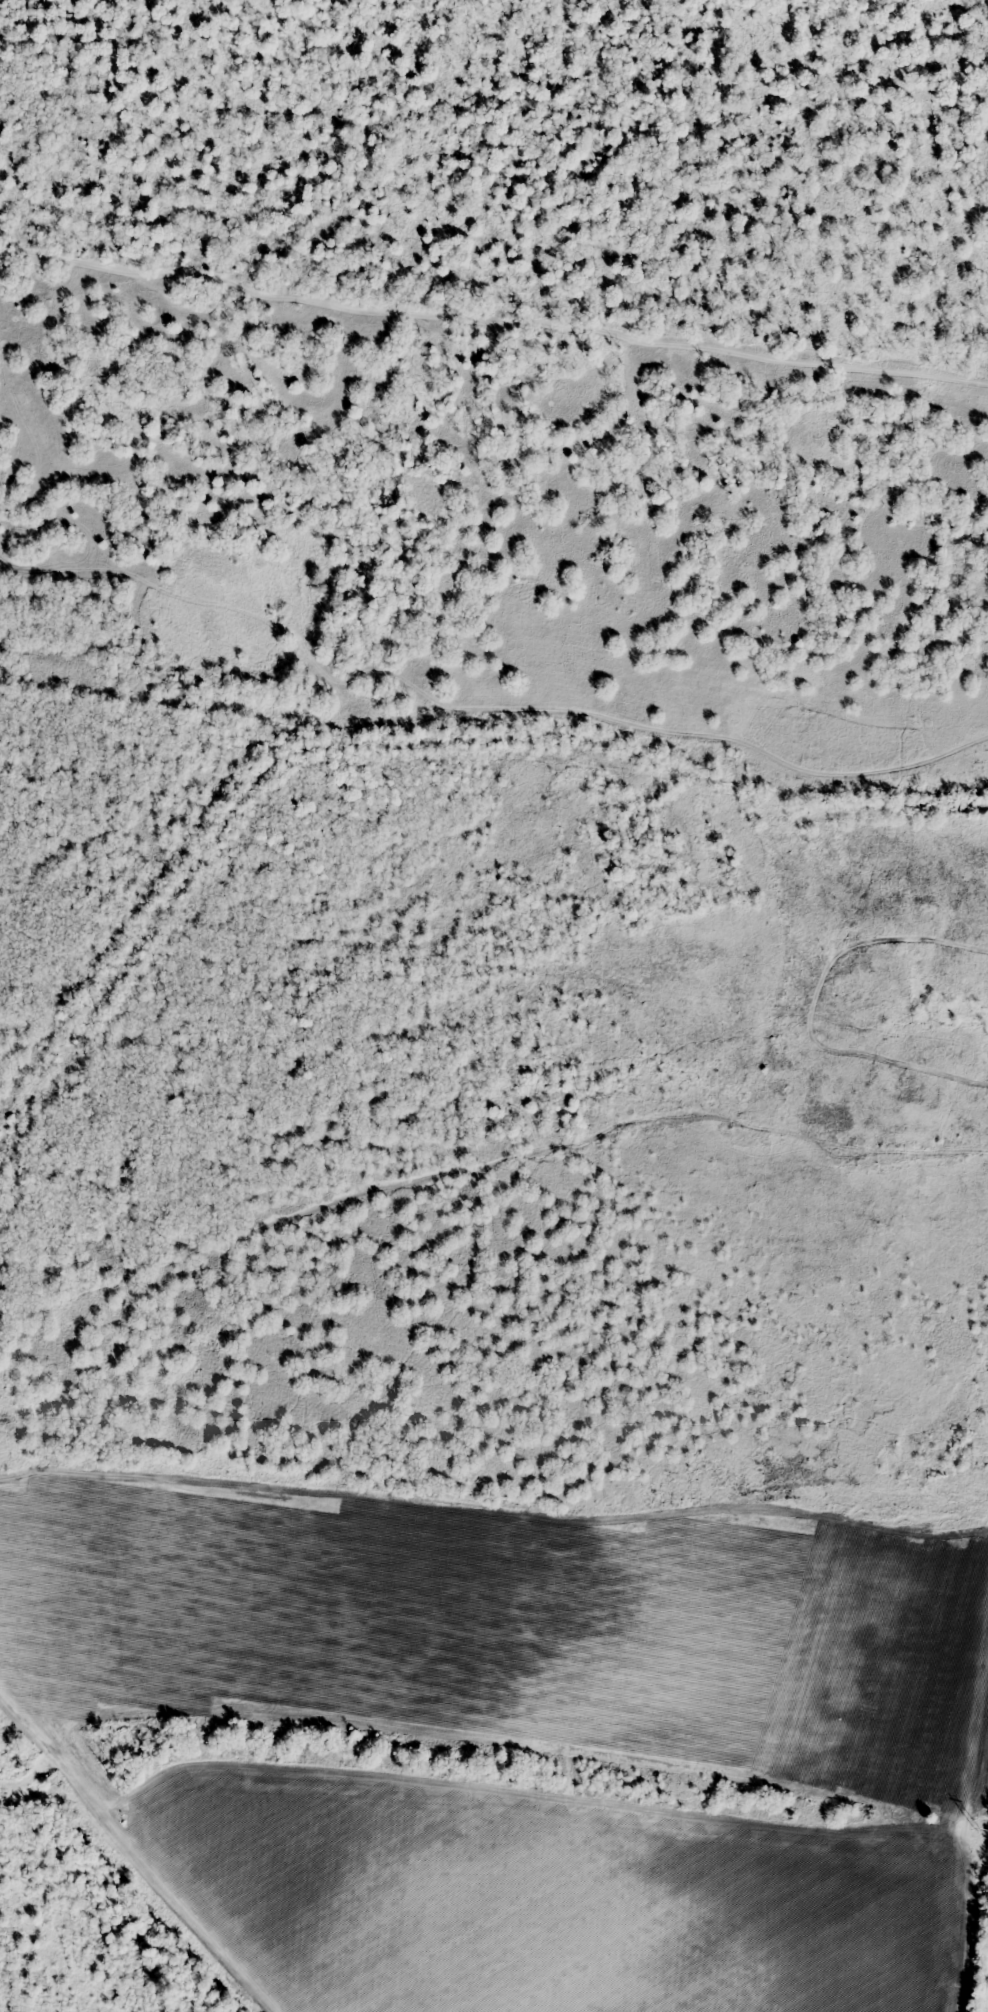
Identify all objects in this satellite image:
power tower: (120, 1784)
power tower: (977, 1829)
road: (142, 1856)

